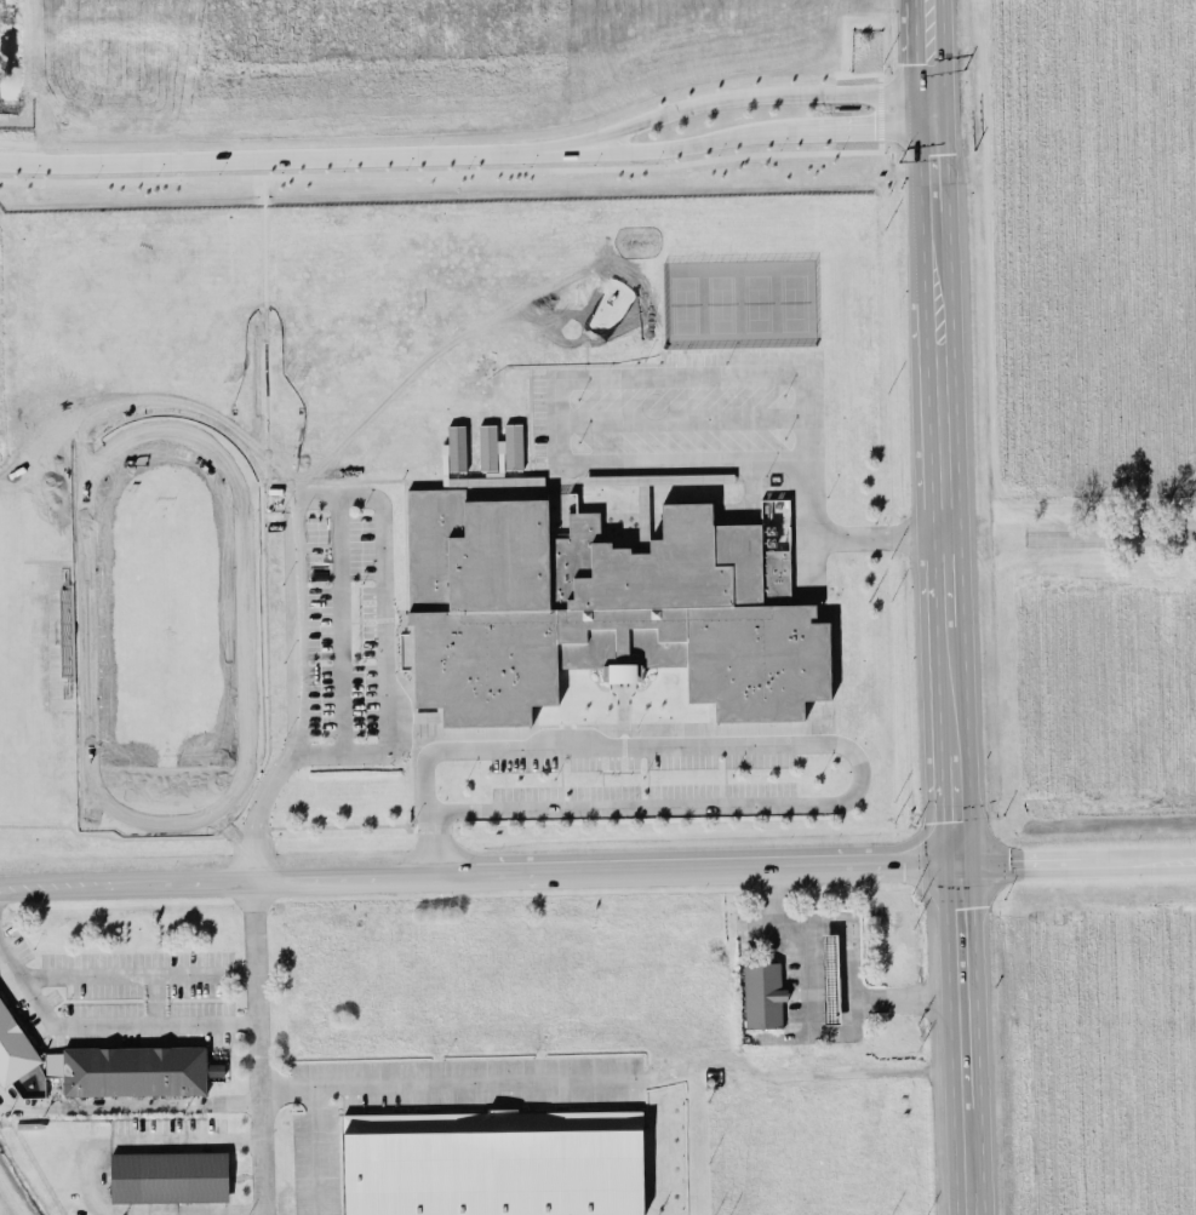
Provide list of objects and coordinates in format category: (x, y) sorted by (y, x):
road: (928, 45)
road: (750, 93)
road: (755, 133)
road: (290, 155)
road: (932, 189)
road: (937, 319)
road: (649, 378)
road: (940, 440)
building: (499, 446)
building: (454, 448)
road: (1111, 537)
road: (383, 567)
road: (944, 577)
crop: (1100, 585)
building: (603, 602)
parking lot: (338, 620)
road: (339, 620)
road: (951, 741)
road: (841, 743)
parking lot: (643, 775)
road: (1075, 860)
traffic signals: (955, 861)
road: (857, 862)
road: (602, 867)
road: (348, 873)
road: (190, 878)
road: (64, 882)
road: (800, 919)
road: (846, 933)
road: (137, 973)
building: (829, 978)
gas station: (829, 978)
road: (957, 980)
road: (830, 992)
road: (897, 992)
parking lot: (119, 993)
building: (761, 993)
road: (156, 997)
road: (104, 1022)
road: (257, 1043)
building: (13, 1045)
building: (135, 1068)
road: (448, 1082)
parking lot: (428, 1099)
road: (127, 1105)
road: (185, 1137)
road: (314, 1150)
road: (963, 1157)
building: (493, 1162)
building: (168, 1175)
road: (139, 1213)

